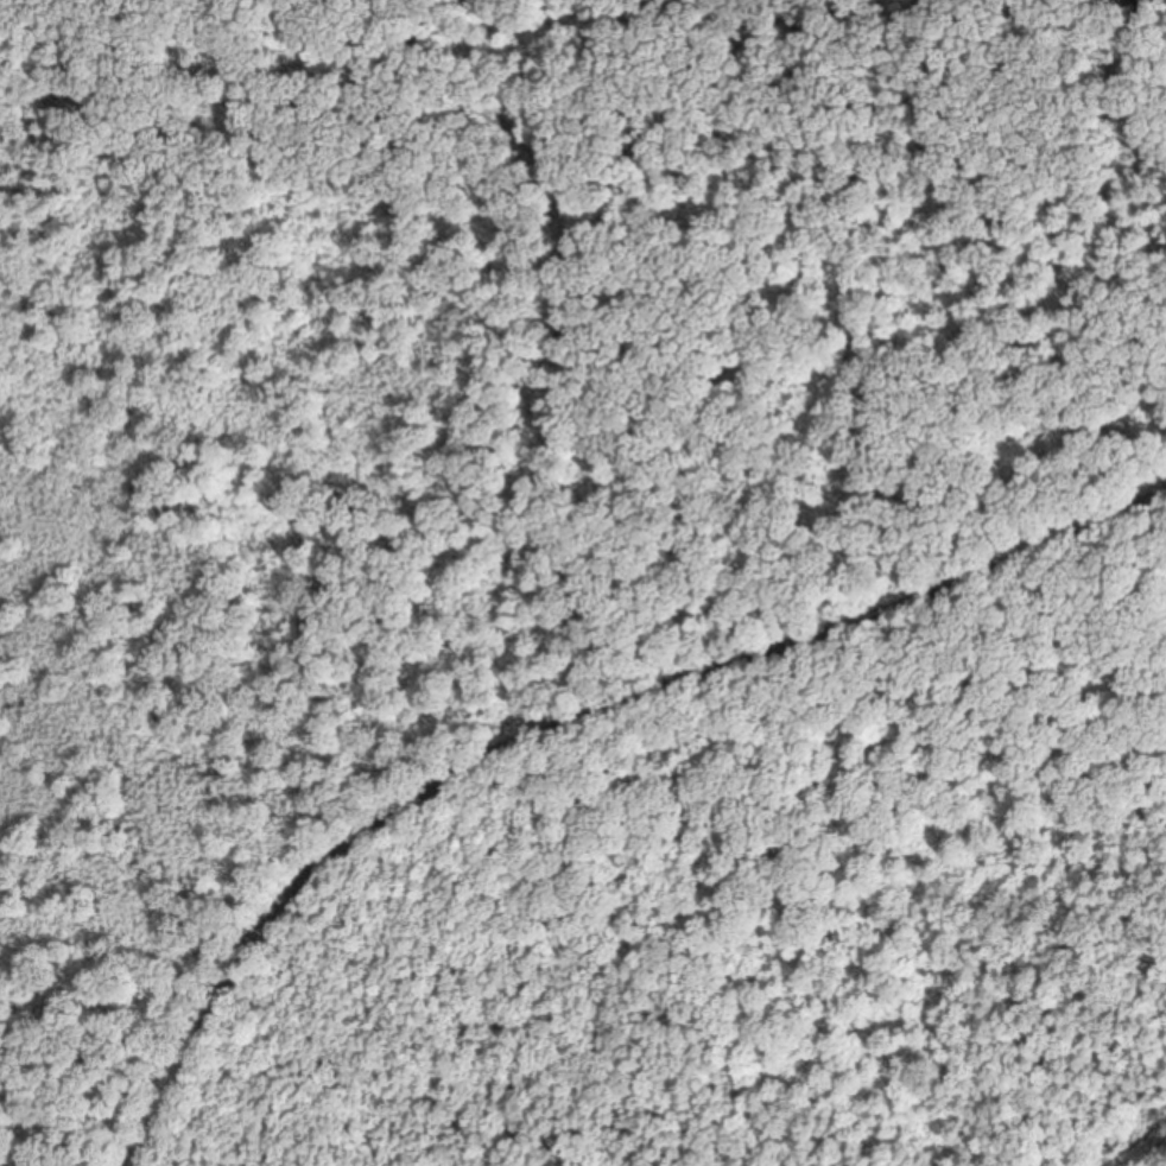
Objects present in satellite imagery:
road: (569, 724)

